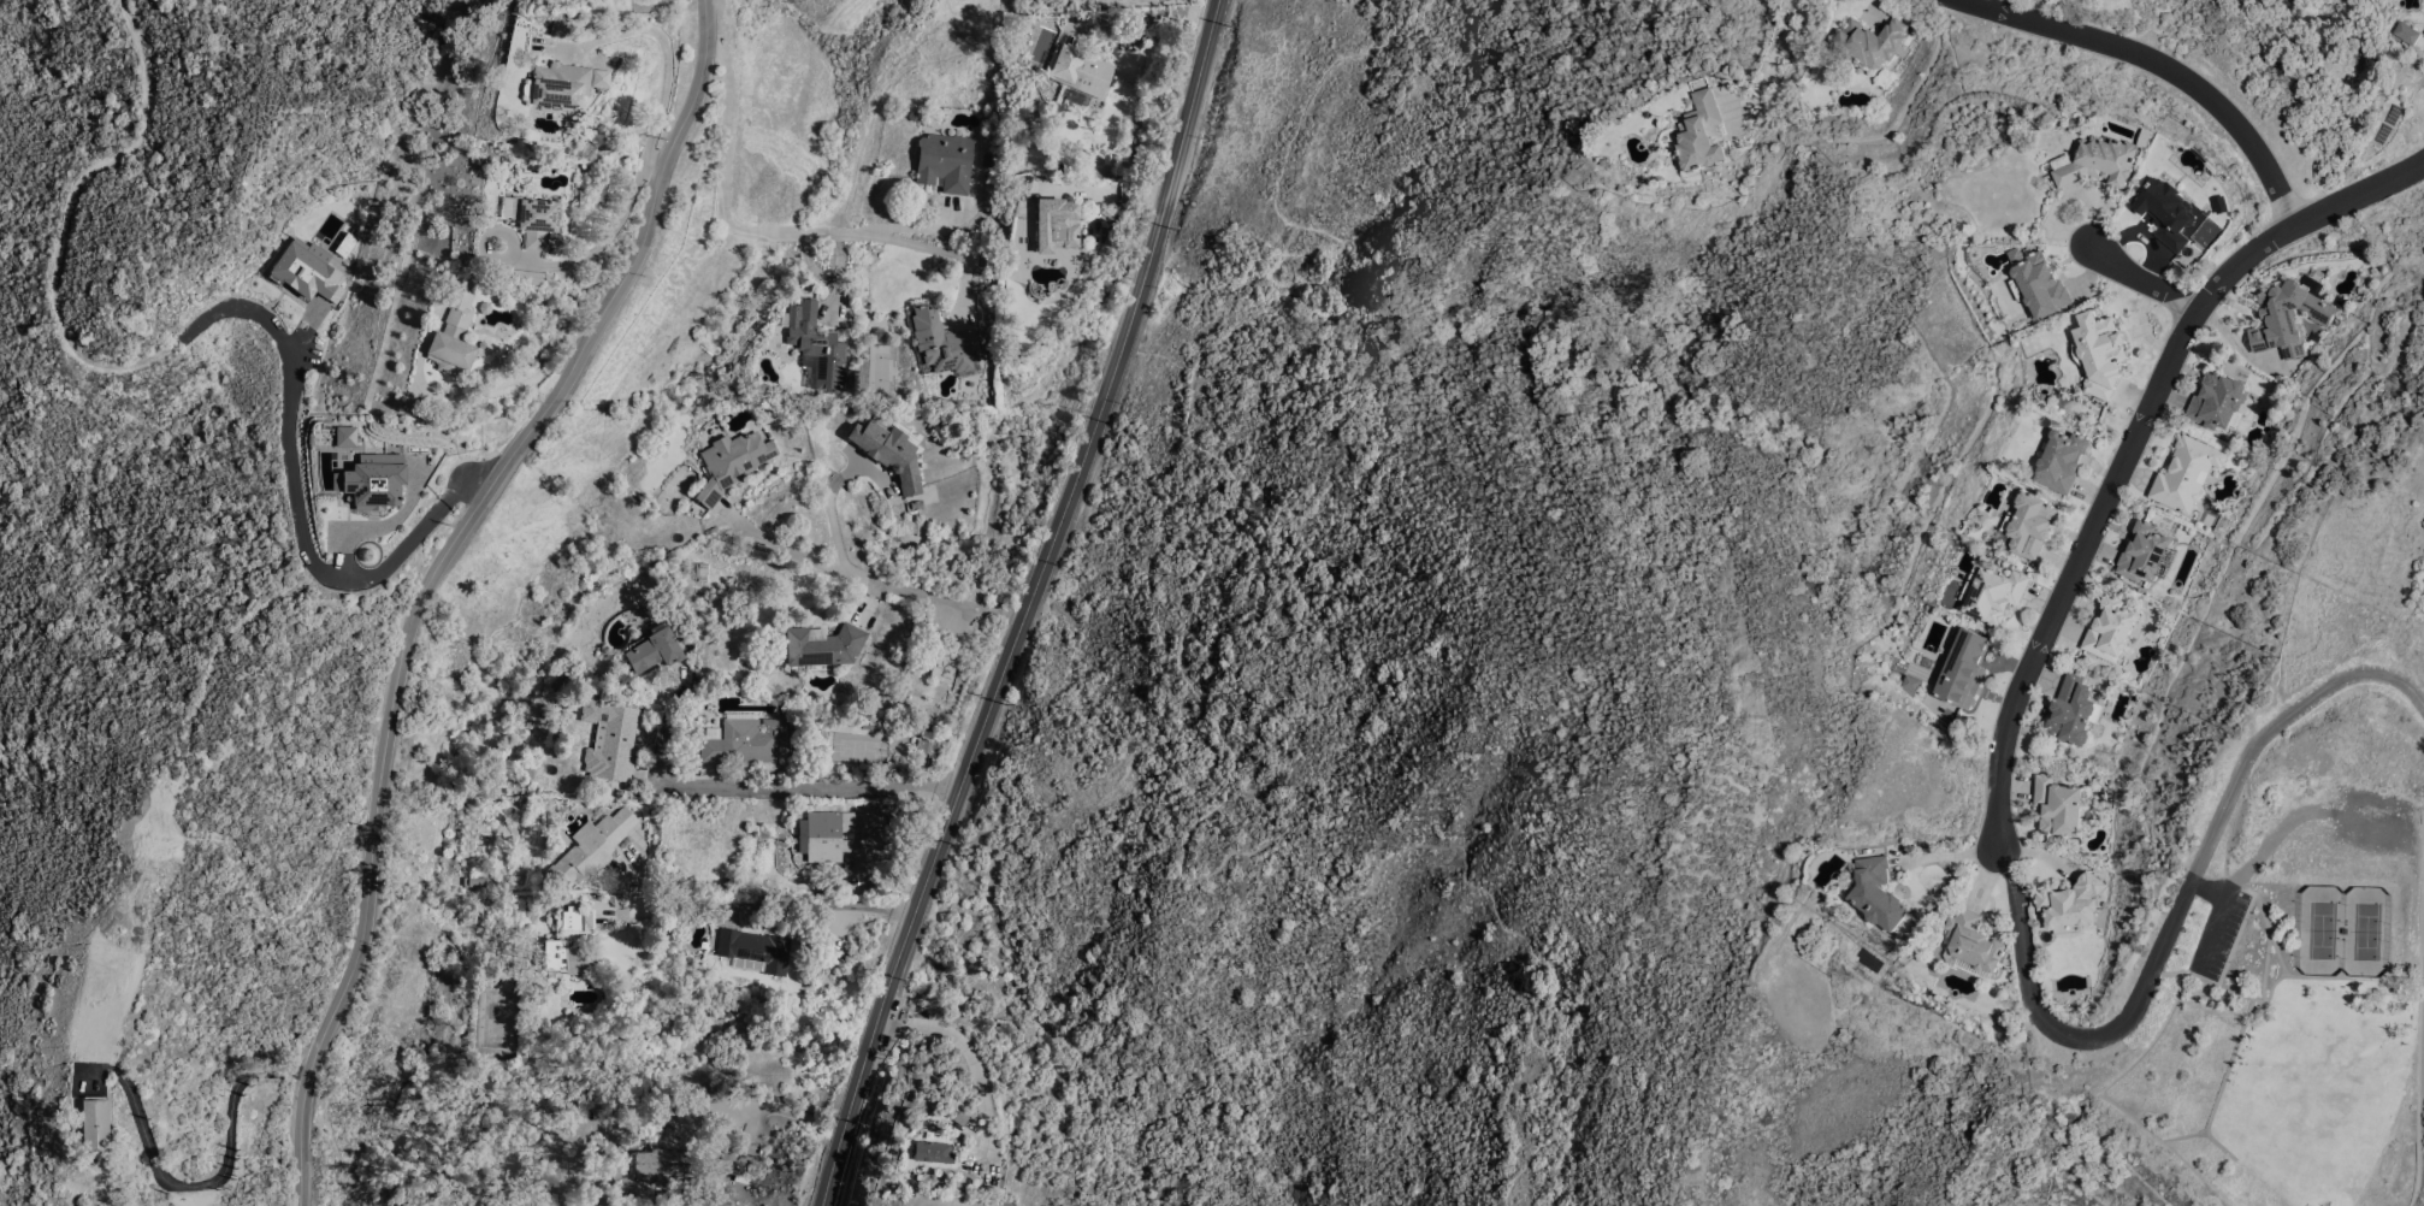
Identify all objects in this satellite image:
building: (2405, 32)
building: (1872, 41)
road: (668, 53)
road: (1778, 55)
road: (2158, 69)
building: (1082, 71)
building: (563, 85)
building: (1701, 132)
building: (2103, 160)
building: (946, 162)
road: (661, 164)
road: (728, 203)
building: (2166, 212)
building: (536, 220)
building: (1057, 225)
road: (610, 235)
building: (306, 273)
building: (526, 278)
road: (2145, 284)
building: (2039, 285)
building: (2288, 315)
building: (454, 336)
building: (944, 343)
building: (816, 344)
building: (2098, 353)
building: (2216, 401)
road: (2133, 454)
building: (892, 455)
building: (2061, 461)
building: (732, 463)
building: (2186, 473)
building: (373, 484)
road: (829, 514)
building: (2029, 525)
building: (2142, 552)
road: (342, 562)
road: (438, 577)
road: (869, 583)
building: (1992, 593)
road: (1033, 607)
building: (2110, 629)
building: (823, 645)
building: (654, 650)
building: (942, 667)
building: (1958, 668)
building: (1908, 685)
road: (1196, 692)
building: (2073, 710)
building: (610, 739)
building: (746, 740)
building: (924, 745)
road: (780, 793)
building: (2058, 805)
building: (834, 833)
building: (591, 849)
road: (1945, 863)
building: (473, 882)
building: (1876, 893)
building: (2070, 904)
road: (778, 911)
road: (2180, 915)
road: (2216, 920)
building: (575, 921)
park: (2347, 928)
building: (1971, 941)
building: (752, 950)
building: (569, 957)
road: (972, 1058)
road: (759, 1101)
building: (94, 1125)
building: (933, 1152)
building: (728, 1160)
building: (662, 1164)
road: (213, 1189)

